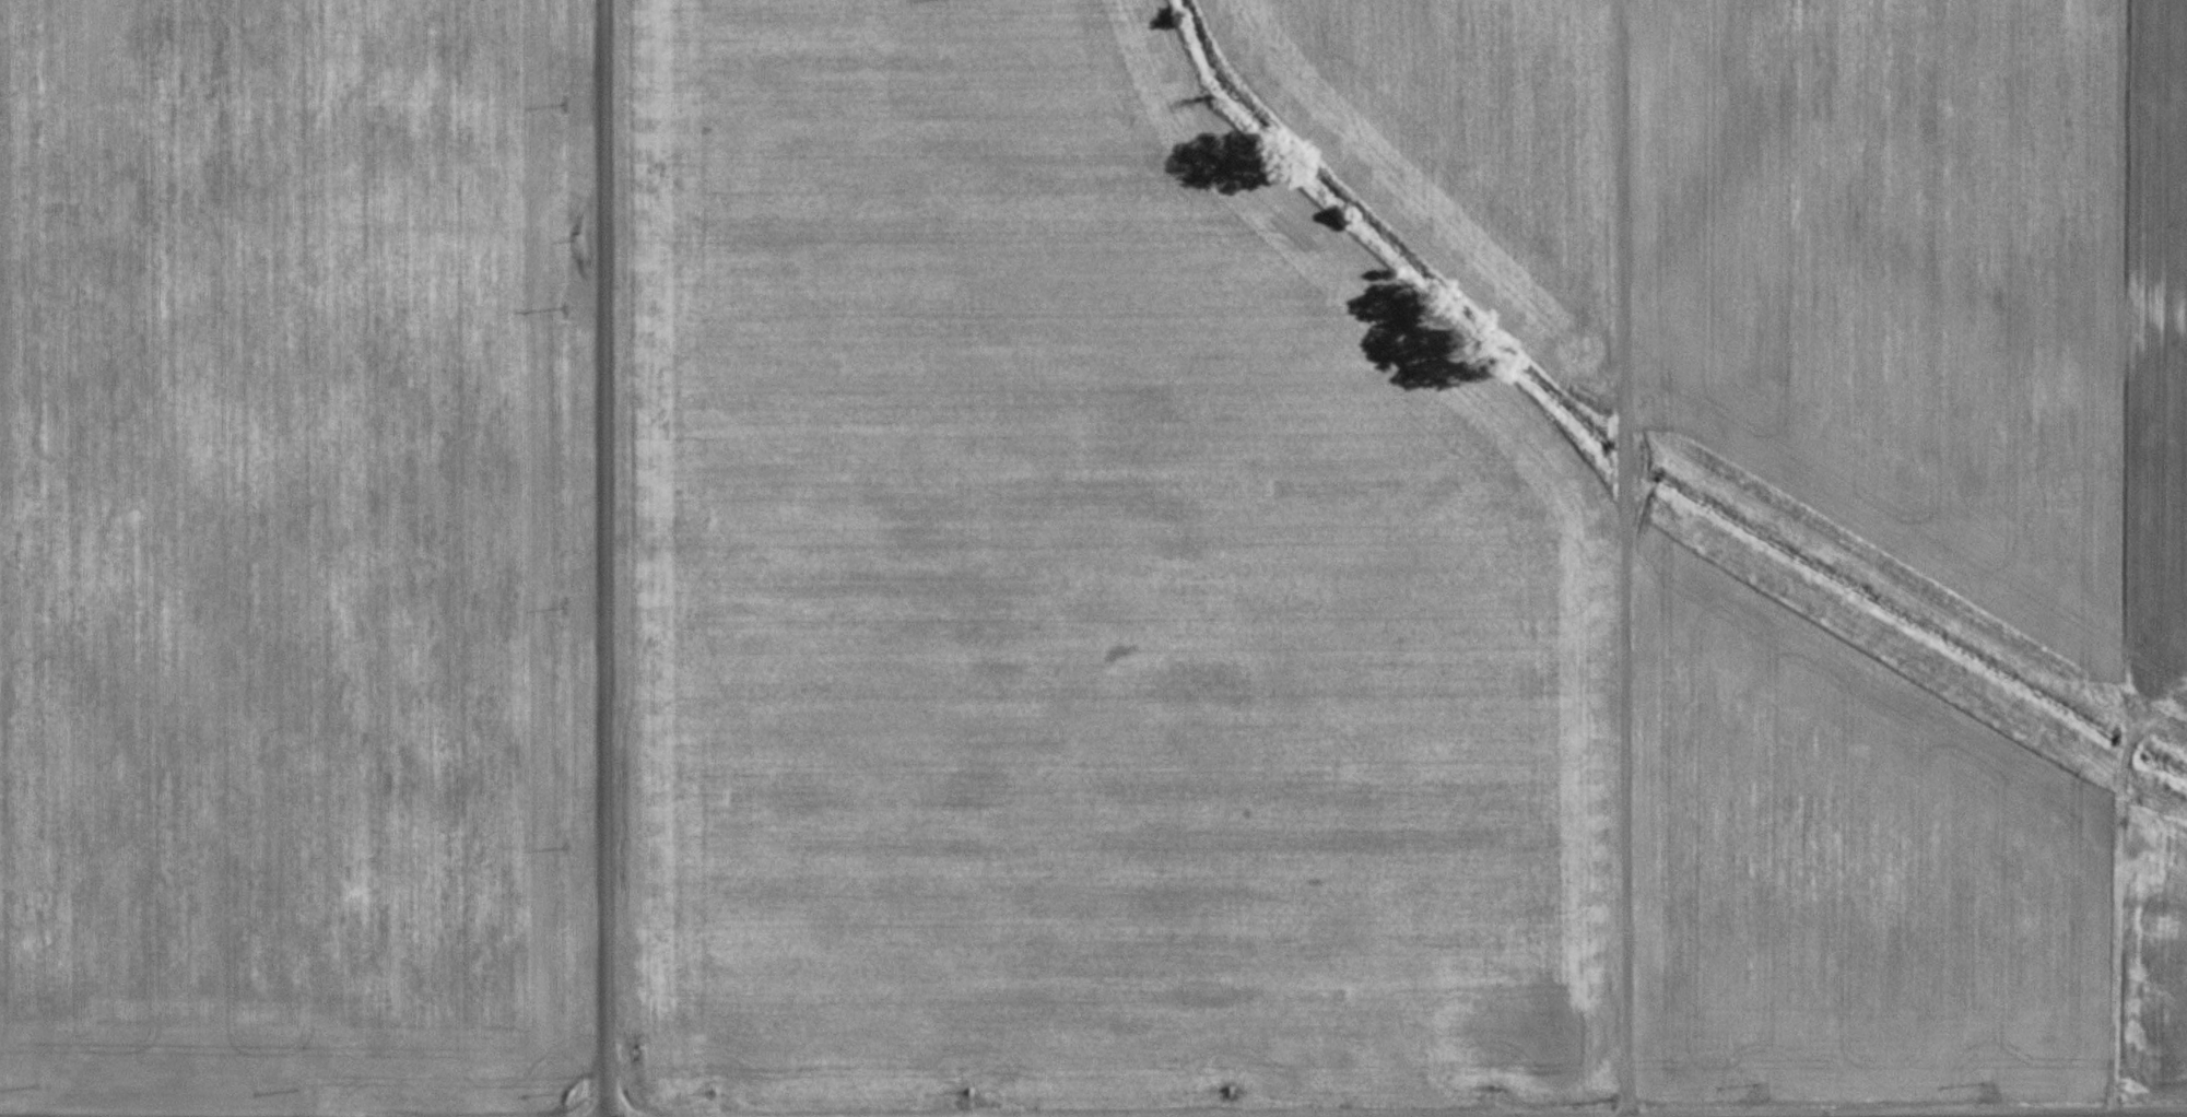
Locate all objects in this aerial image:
road: (601, 558)
road: (1601, 558)

